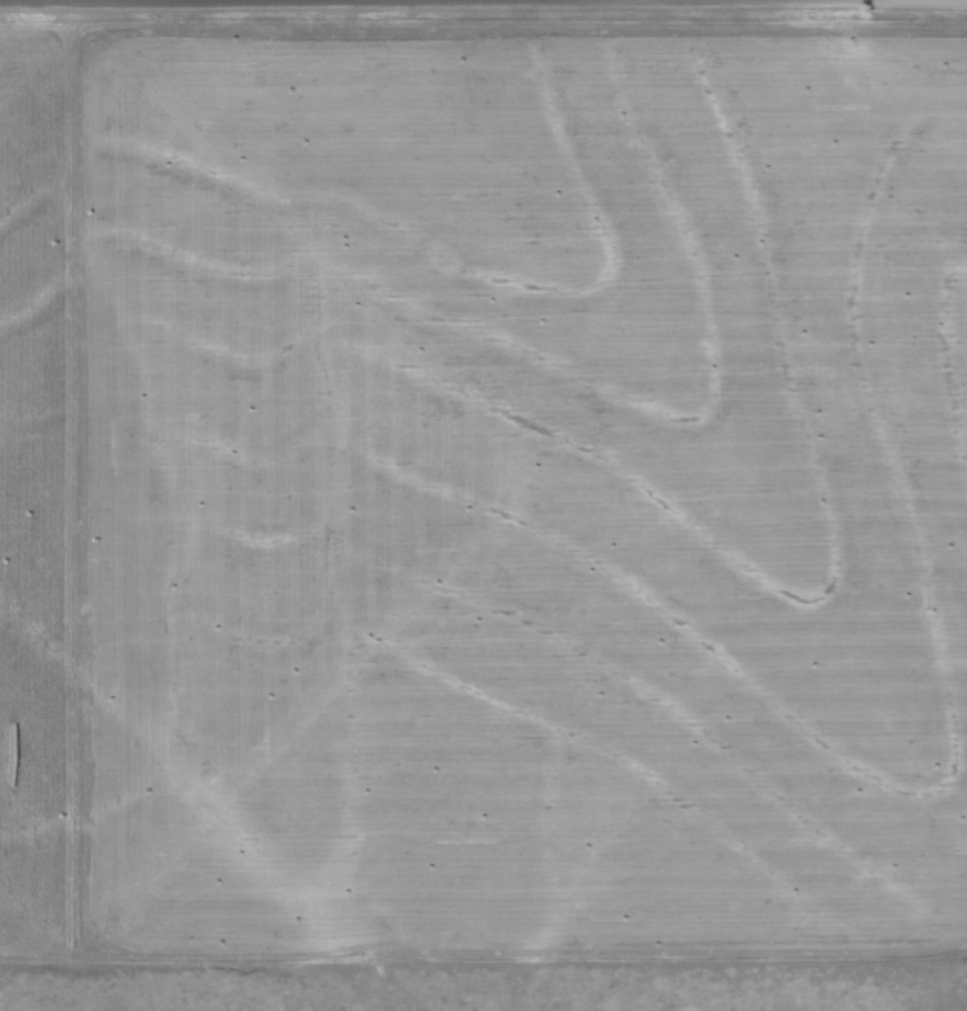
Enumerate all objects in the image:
road: (483, 1)
road: (952, 1)

